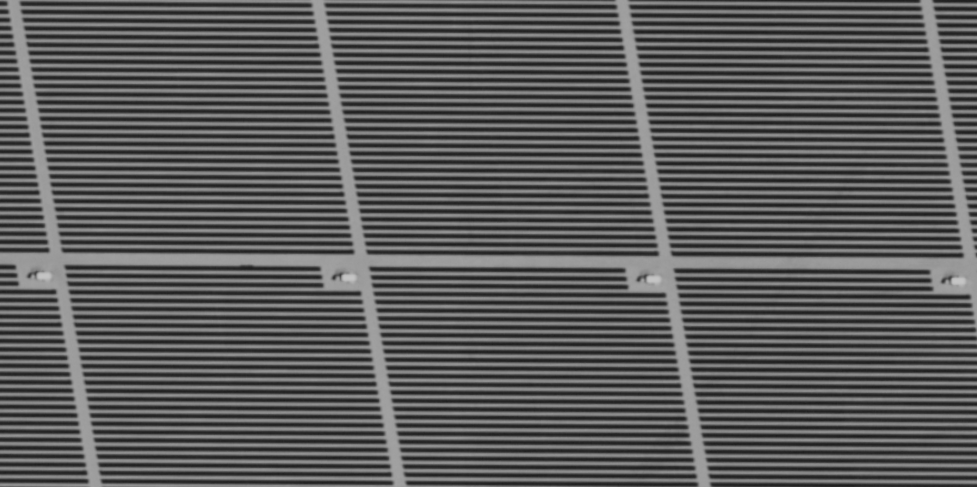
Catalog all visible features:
solar farm: (488, 243)

